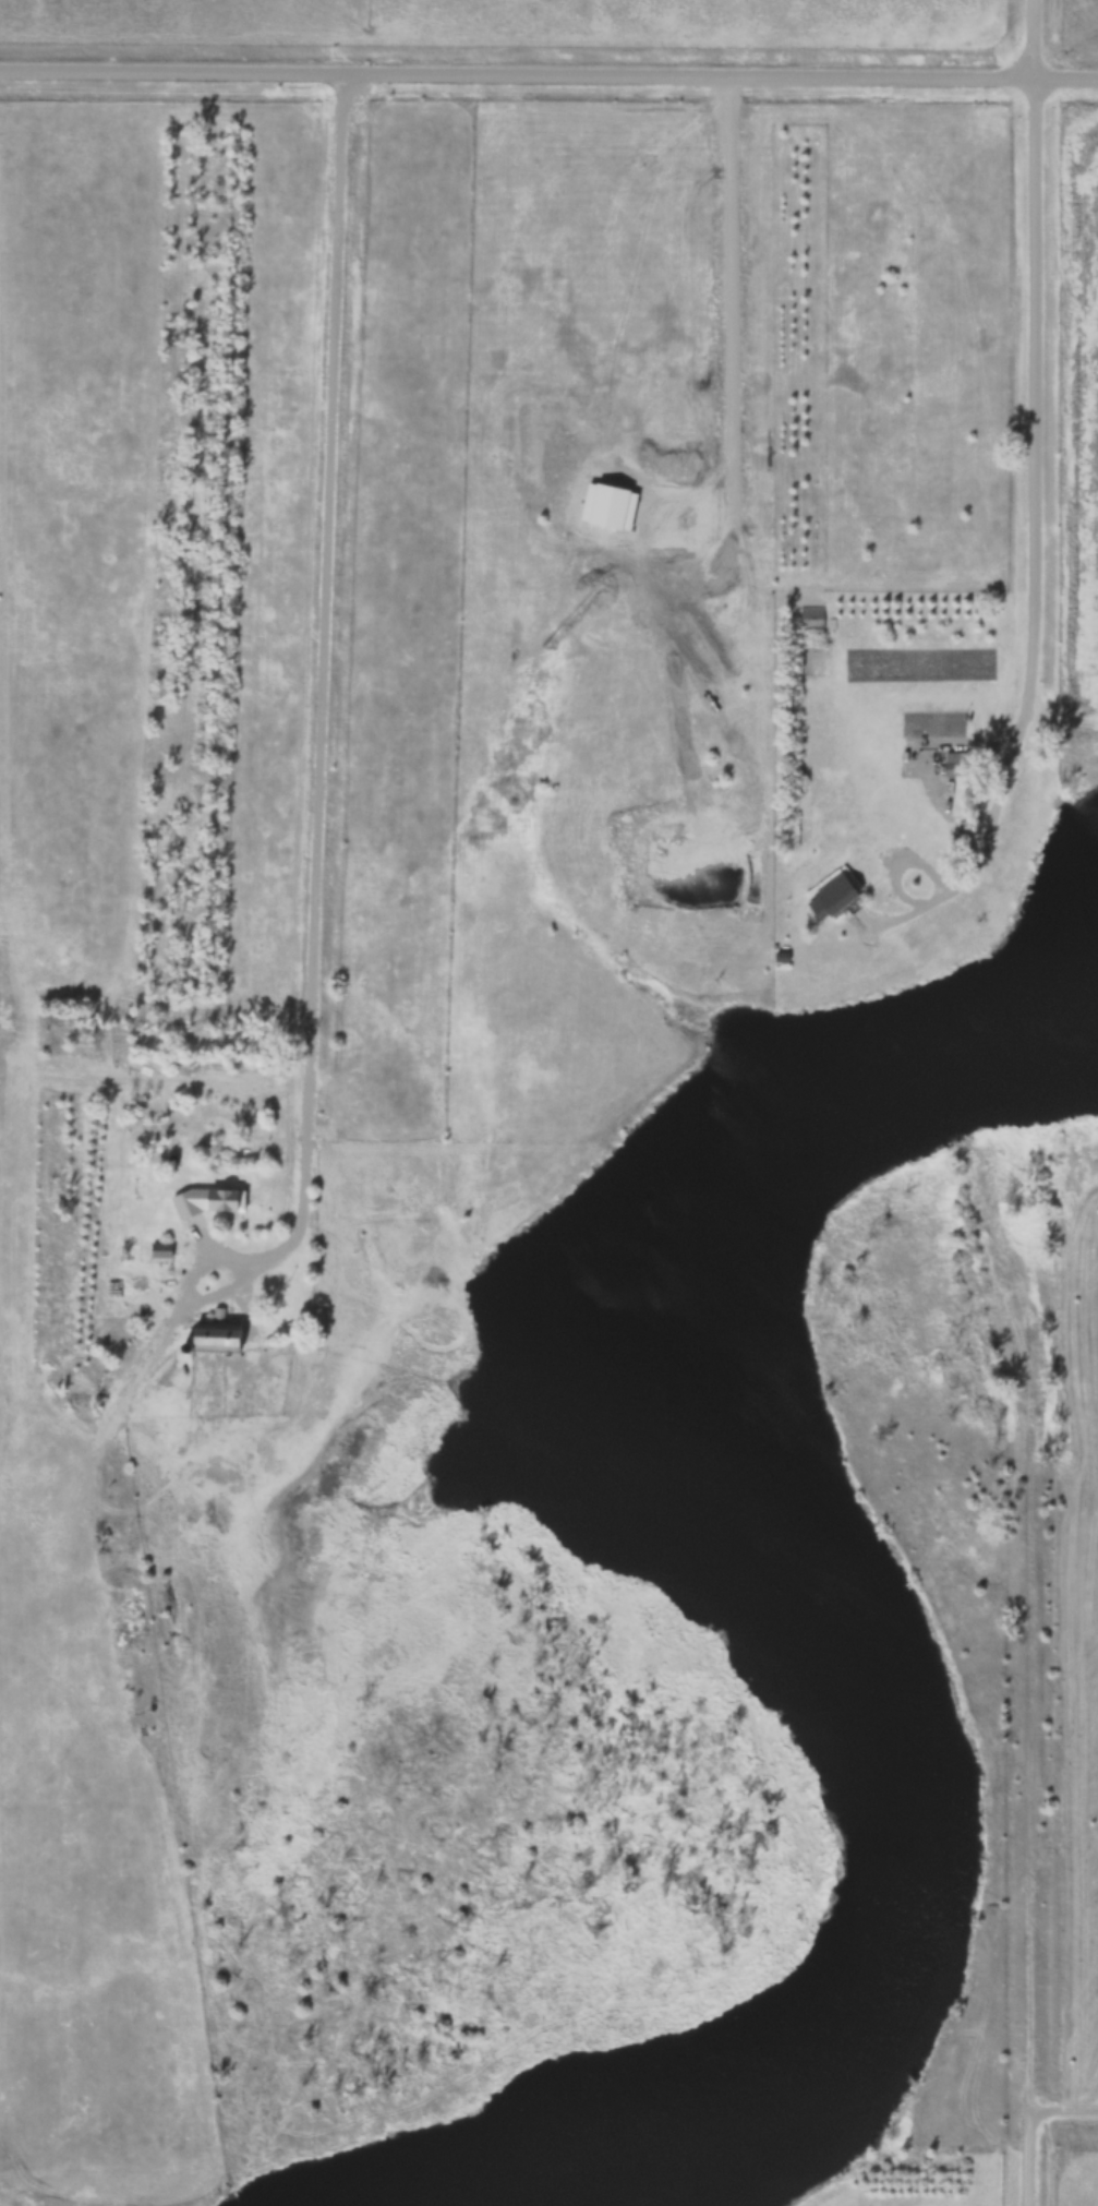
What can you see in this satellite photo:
road: (548, 75)
road: (1028, 336)
building: (810, 618)
building: (809, 659)
building: (955, 764)
building: (837, 895)
building: (209, 1200)
building: (218, 1336)
building: (37, 1495)
river: (820, 1632)
road: (1063, 2113)
road: (1027, 2159)

